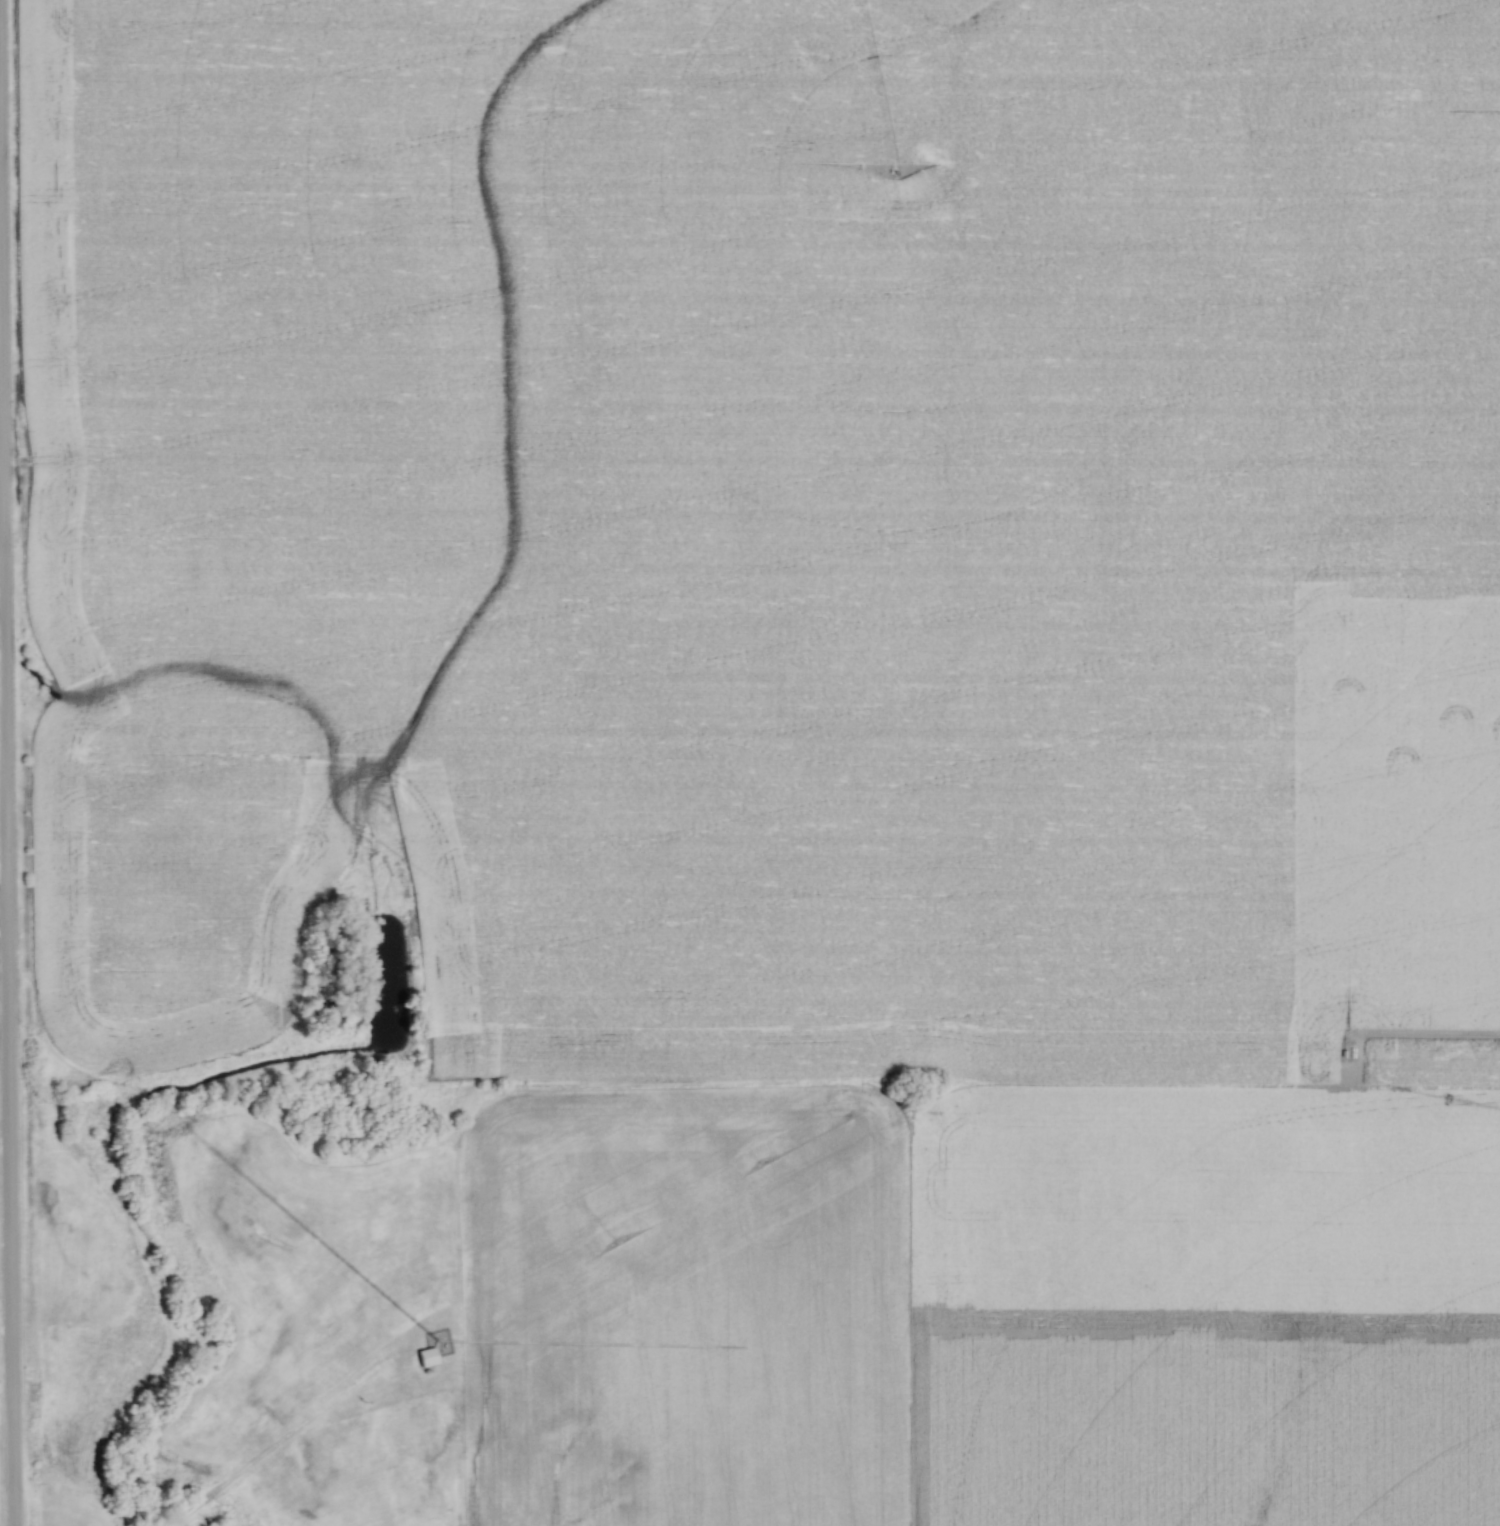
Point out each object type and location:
road: (6, 872)
building: (426, 1357)

